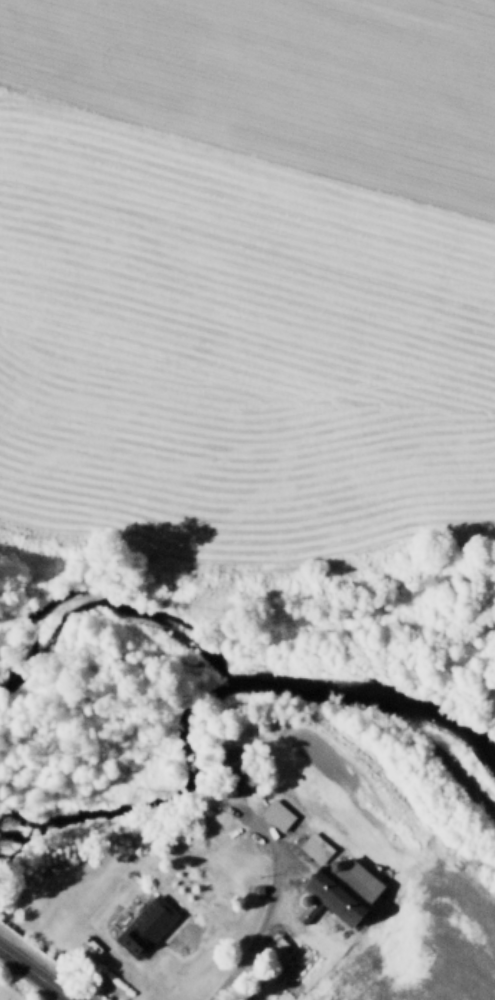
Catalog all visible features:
crop: (287, 78)
crop: (233, 345)
river: (257, 682)
building: (231, 767)
building: (277, 811)
building: (315, 843)
building: (335, 860)
silo: (335, 860)
building: (260, 885)
building: (341, 887)
building: (306, 893)
silo: (306, 893)
road: (267, 904)
building: (144, 926)
crop: (398, 952)
building: (265, 955)
road: (37, 971)
crop: (10, 992)

